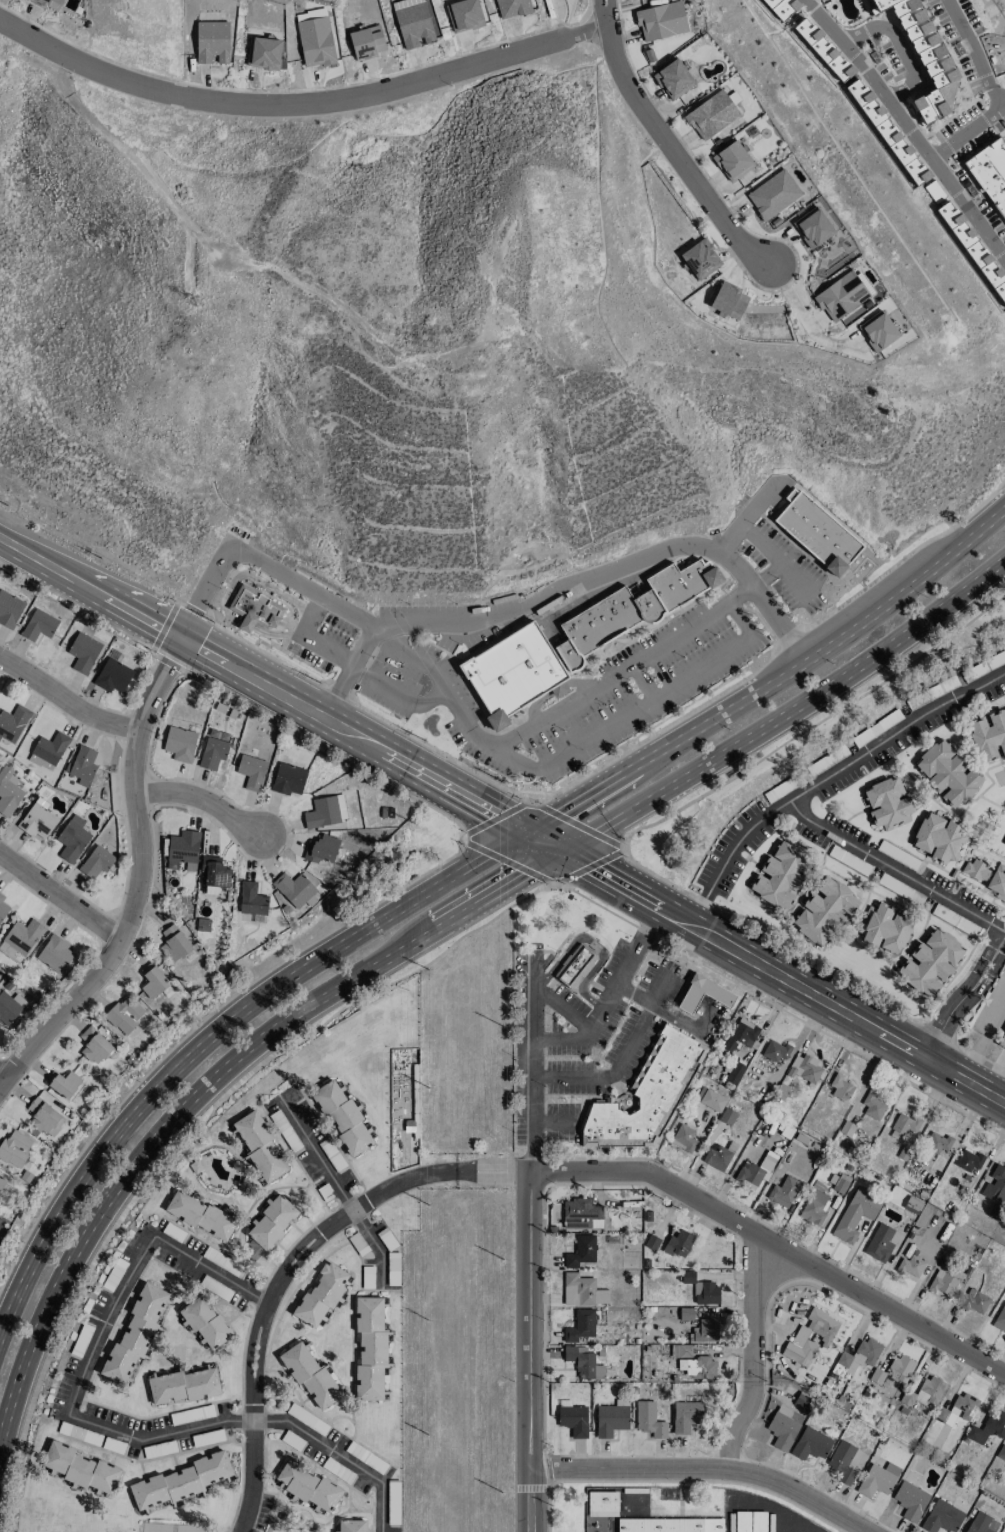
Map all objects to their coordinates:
building: (50, 4)
building: (513, 7)
building: (781, 7)
building: (464, 15)
building: (661, 21)
building: (414, 22)
road: (823, 22)
building: (212, 41)
building: (315, 41)
building: (367, 42)
building: (823, 49)
building: (263, 53)
road: (974, 53)
building: (924, 56)
building: (673, 79)
road: (873, 82)
road: (298, 102)
road: (1002, 106)
building: (711, 115)
building: (888, 132)
road: (673, 142)
building: (732, 161)
building: (990, 172)
building: (934, 191)
building: (773, 194)
road: (968, 212)
building: (813, 227)
building: (974, 250)
building: (700, 259)
building: (841, 296)
building: (729, 300)
road: (803, 318)
building: (879, 330)
road: (751, 516)
building: (817, 532)
road: (44, 559)
road: (776, 560)
road: (264, 561)
road: (228, 590)
road: (571, 591)
building: (633, 608)
building: (9, 609)
building: (255, 609)
building: (39, 625)
road: (777, 651)
building: (83, 652)
road: (351, 666)
building: (512, 673)
building: (113, 676)
road: (772, 678)
road: (67, 699)
road: (568, 700)
road: (310, 707)
road: (641, 707)
road: (789, 711)
building: (13, 723)
road: (813, 724)
building: (988, 735)
building: (180, 743)
building: (50, 748)
building: (212, 753)
building: (83, 765)
building: (251, 771)
building: (948, 773)
road: (826, 775)
building: (288, 779)
building: (8, 791)
road: (203, 799)
building: (888, 803)
building: (325, 811)
building: (38, 820)
traffic signals: (531, 831)
building: (938, 837)
building: (72, 839)
road: (547, 840)
building: (321, 849)
traffic signals: (563, 849)
building: (183, 850)
building: (96, 862)
road: (894, 868)
building: (977, 870)
building: (214, 874)
building: (780, 875)
road: (138, 878)
road: (549, 879)
building: (997, 882)
building: (294, 889)
road: (61, 895)
building: (251, 899)
building: (824, 911)
building: (884, 928)
building: (19, 940)
building: (174, 943)
road: (594, 944)
building: (55, 954)
building: (931, 963)
building: (575, 965)
road: (783, 976)
building: (152, 980)
road: (608, 993)
building: (703, 994)
road: (964, 995)
building: (10, 1007)
road: (660, 1008)
road: (562, 1009)
building: (124, 1014)
building: (741, 1034)
road: (216, 1035)
building: (1002, 1041)
building: (94, 1045)
building: (775, 1051)
road: (622, 1058)
road: (533, 1060)
building: (804, 1069)
road: (4, 1072)
building: (735, 1073)
road: (210, 1078)
building: (62, 1083)
building: (840, 1088)
building: (646, 1094)
building: (713, 1100)
building: (873, 1106)
building: (42, 1115)
building: (727, 1116)
building: (343, 1117)
road: (552, 1121)
building: (904, 1124)
building: (683, 1139)
building: (936, 1143)
building: (260, 1146)
building: (14, 1148)
building: (717, 1156)
building: (969, 1161)
road: (494, 1169)
building: (996, 1183)
building: (839, 1185)
road: (339, 1189)
building: (784, 1191)
building: (814, 1205)
building: (856, 1213)
building: (200, 1214)
building: (579, 1215)
building: (270, 1225)
building: (881, 1242)
building: (678, 1243)
road: (775, 1249)
building: (581, 1251)
building: (911, 1266)
road: (209, 1268)
building: (942, 1283)
building: (582, 1291)
building: (706, 1293)
building: (321, 1295)
road: (270, 1298)
building: (974, 1301)
building: (685, 1314)
building: (1000, 1319)
road: (106, 1321)
building: (204, 1322)
building: (580, 1326)
building: (705, 1331)
building: (135, 1333)
building: (799, 1338)
building: (370, 1348)
road: (532, 1350)
building: (681, 1350)
road: (752, 1356)
building: (857, 1357)
building: (583, 1363)
building: (697, 1367)
building: (893, 1372)
building: (310, 1375)
building: (183, 1386)
building: (930, 1390)
building: (964, 1405)
building: (686, 1416)
building: (610, 1419)
road: (255, 1420)
building: (573, 1420)
building: (649, 1420)
building: (988, 1427)
building: (782, 1429)
building: (811, 1444)
building: (842, 1462)
building: (80, 1468)
road: (708, 1471)
building: (181, 1481)
building: (875, 1481)
building: (308, 1486)
building: (910, 1500)
building: (602, 1503)
building: (942, 1517)
building: (751, 1522)
building: (982, 1524)
building: (351, 1525)
building: (671, 1525)

